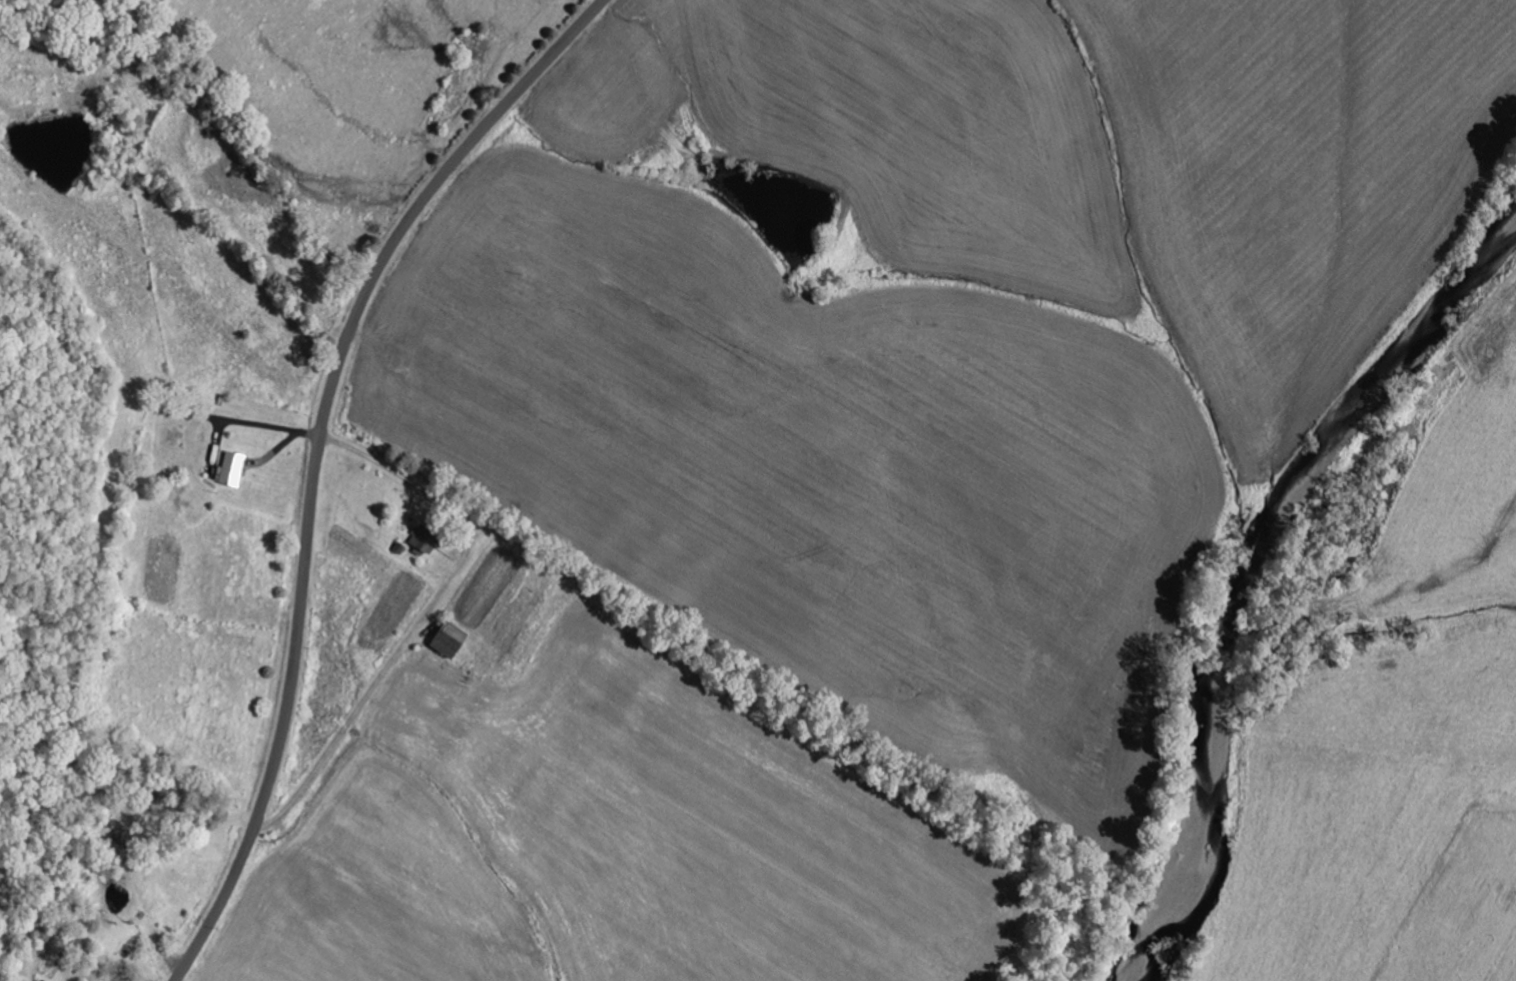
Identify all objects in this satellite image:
road: (237, 210)
road: (317, 455)
building: (230, 469)
building: (421, 540)
building: (451, 637)

